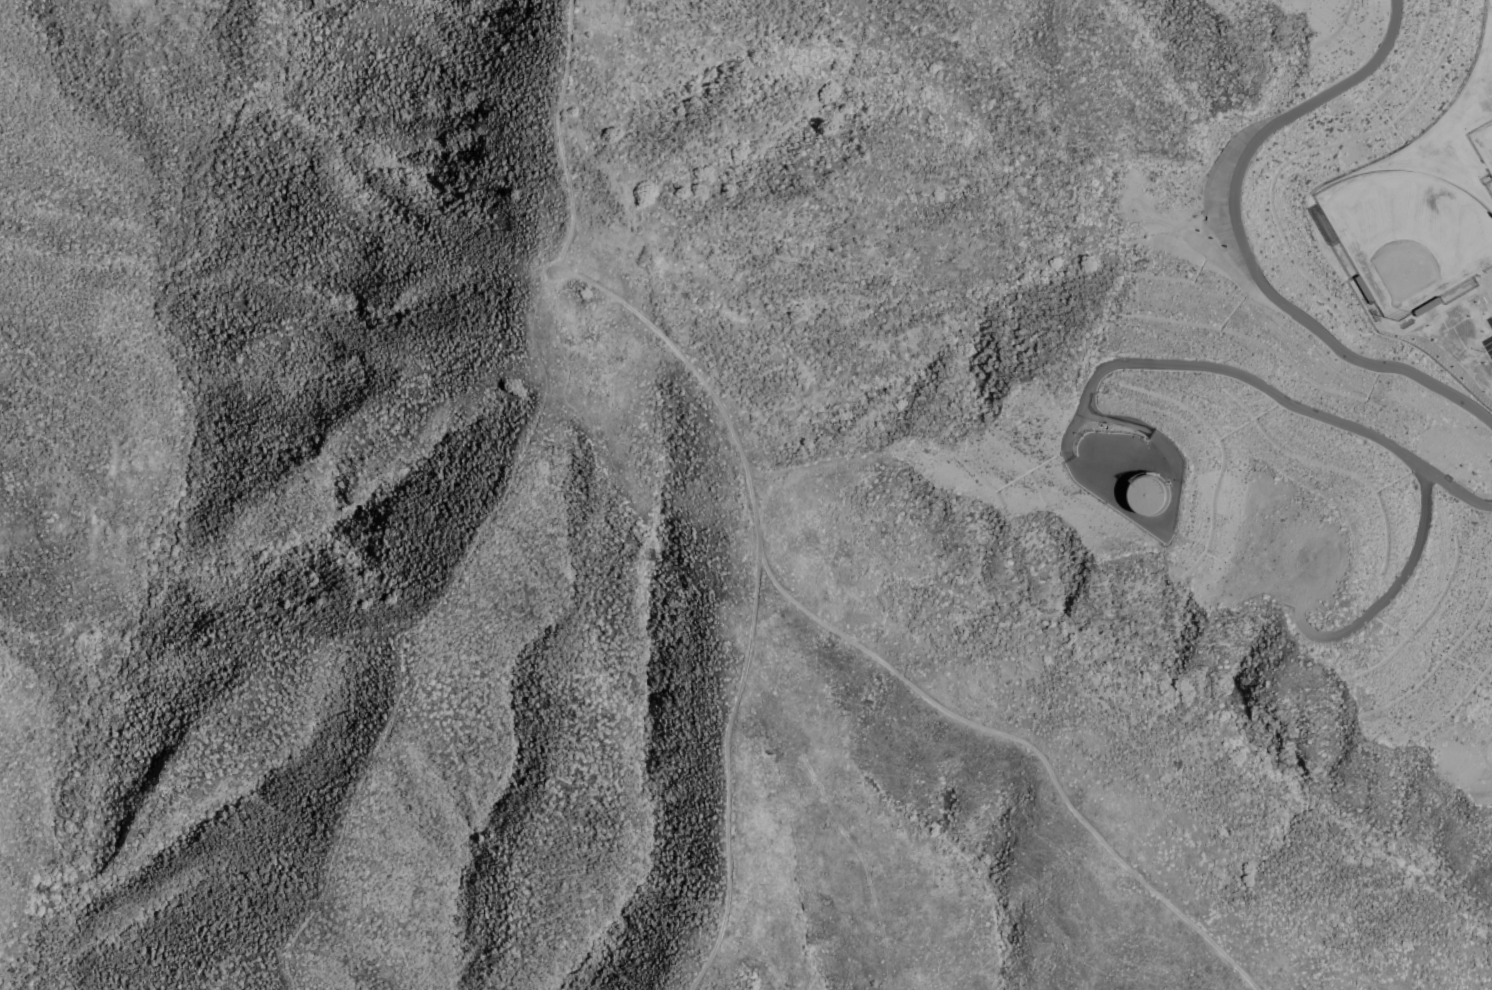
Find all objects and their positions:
park: (1484, 49)
park: (1483, 143)
park: (1408, 235)
road: (1234, 241)
road: (1479, 286)
road: (1456, 301)
road: (1270, 387)
road: (1395, 587)

